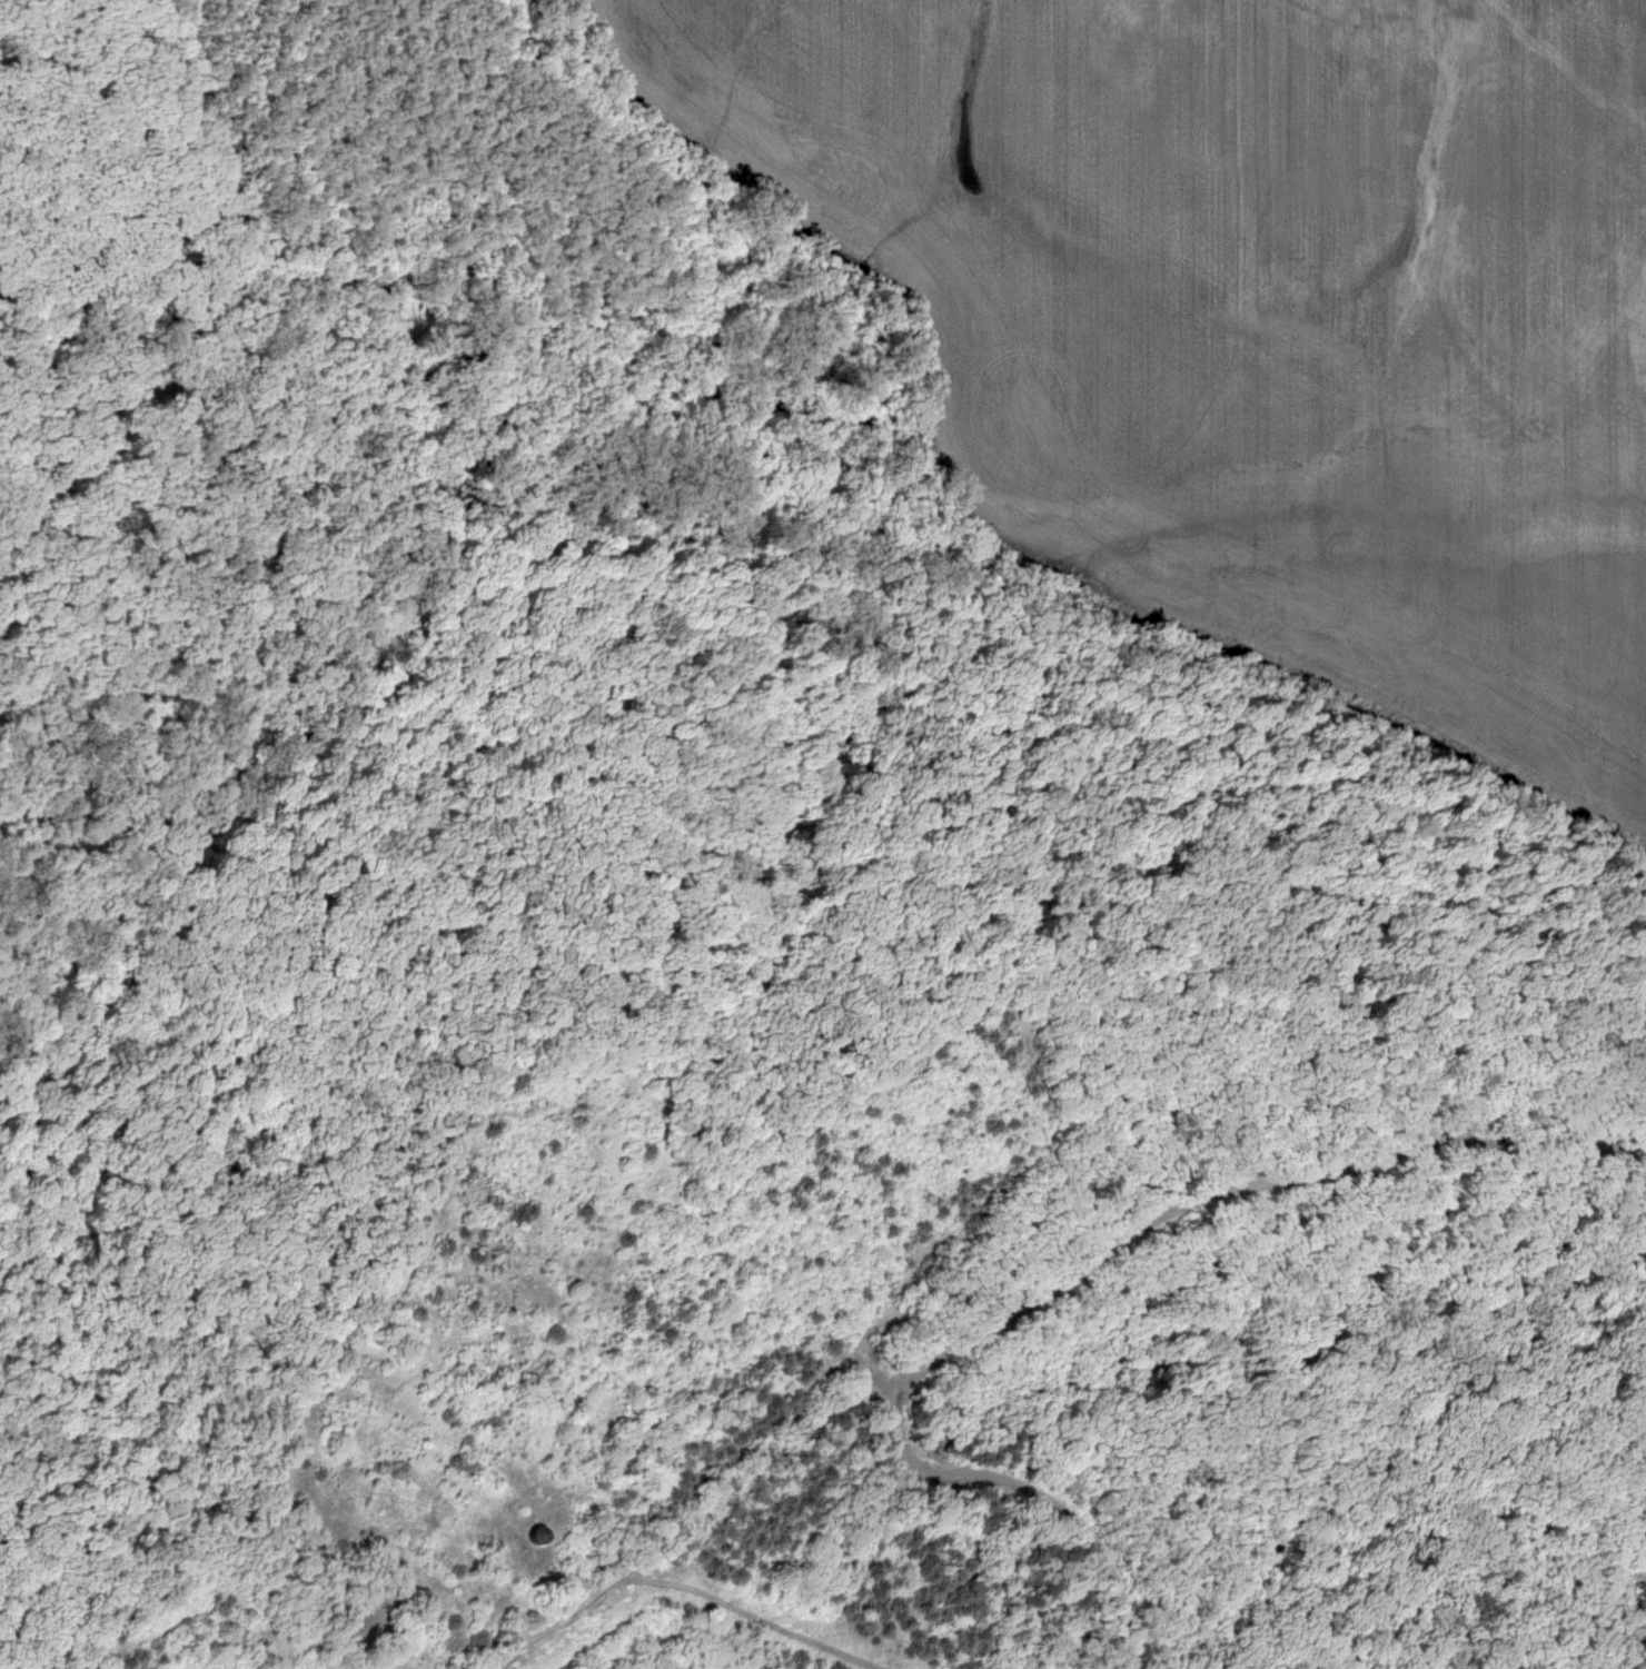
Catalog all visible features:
road: (103, 151)
crop: (1257, 322)
road: (130, 564)
road: (773, 579)
park: (823, 834)
building: (536, 1531)

